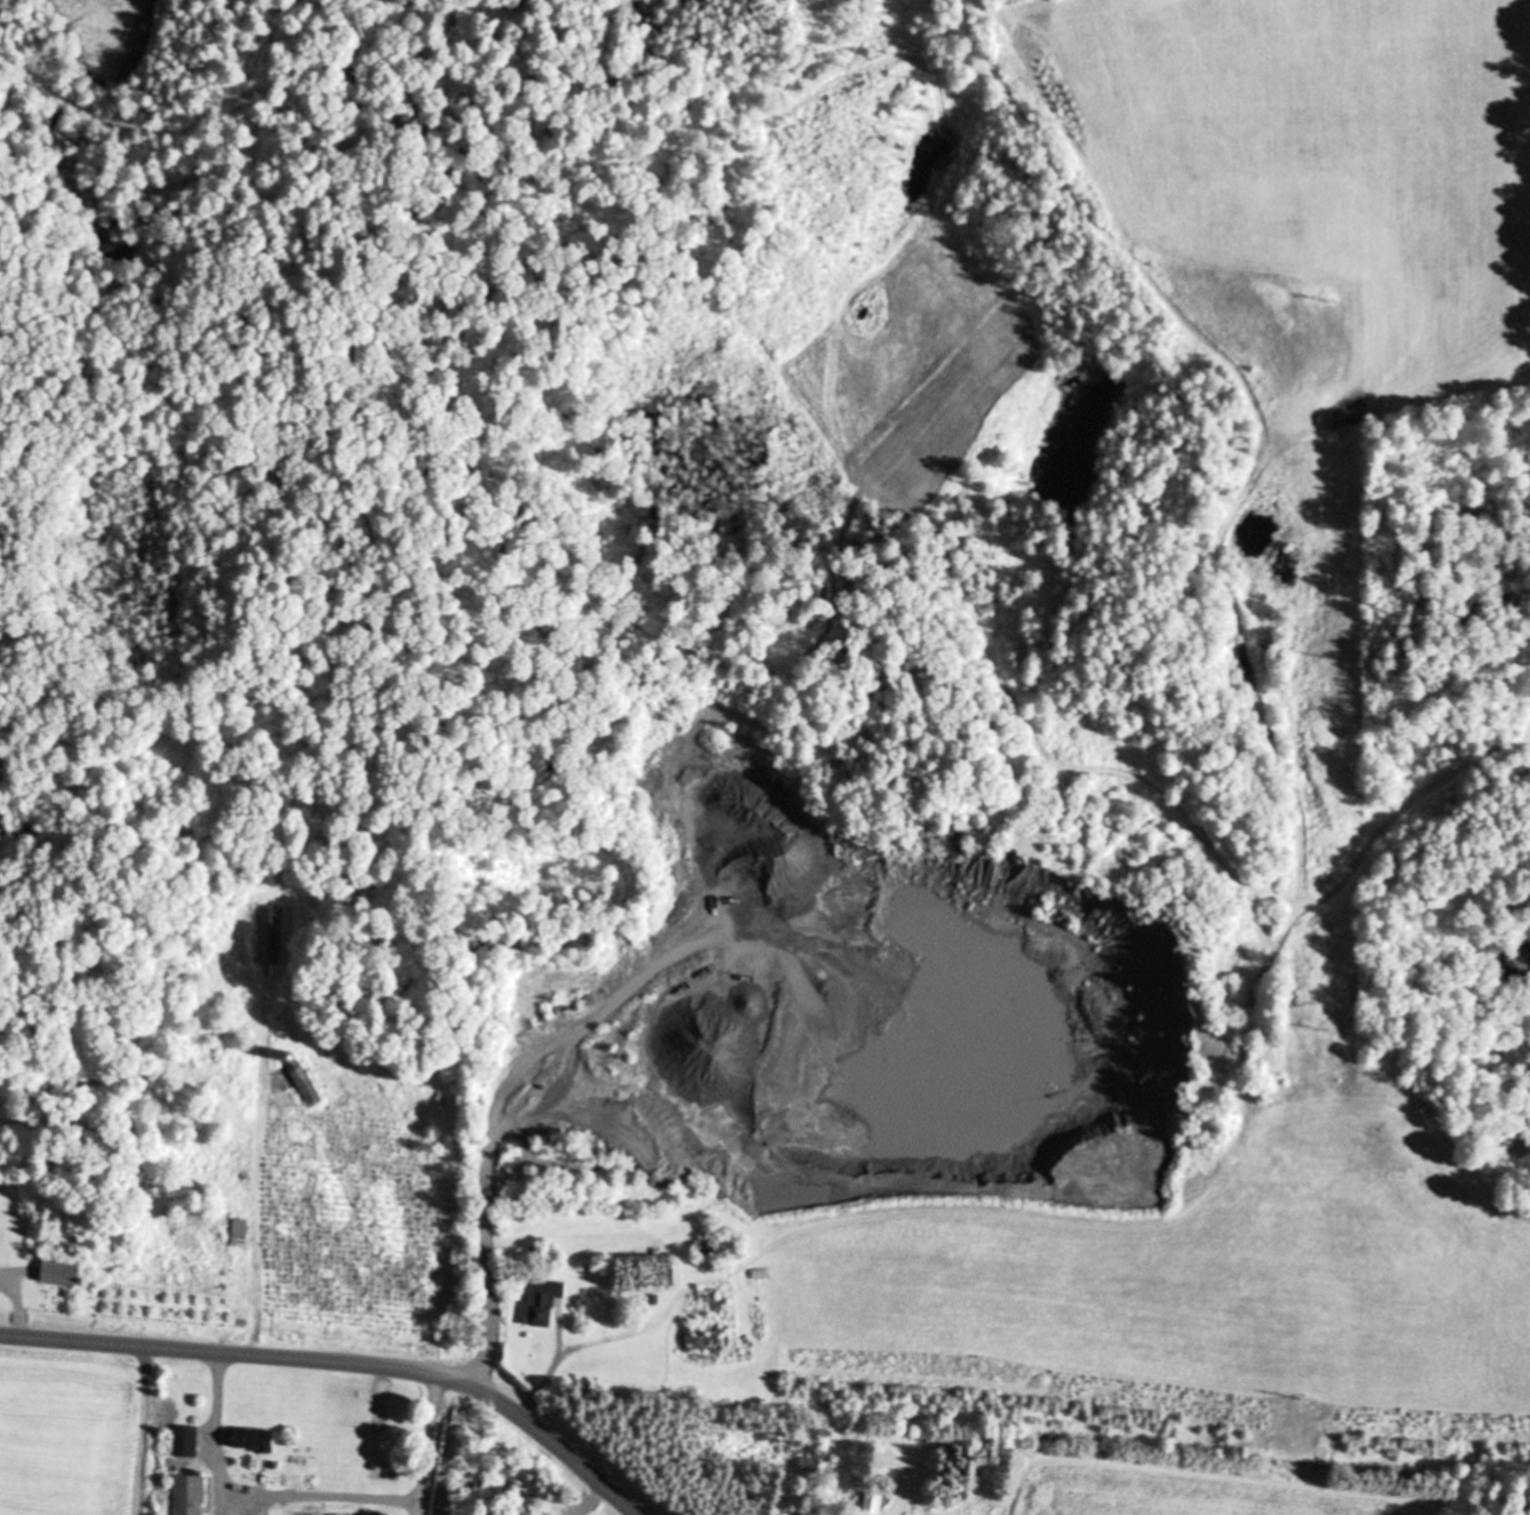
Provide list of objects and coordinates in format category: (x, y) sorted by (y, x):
power tower: (1332, 304)
power tower: (1328, 659)
building: (268, 934)
quarry: (832, 982)
power tower: (1326, 1029)
road: (517, 1068)
building: (304, 1078)
building: (241, 1233)
building: (62, 1273)
road: (18, 1303)
building: (547, 1303)
building: (712, 1324)
road: (341, 1360)
road: (544, 1384)
power tower: (1302, 1401)
road: (215, 1432)
building: (254, 1439)
building: (186, 1442)
building: (189, 1495)
road: (590, 1501)

